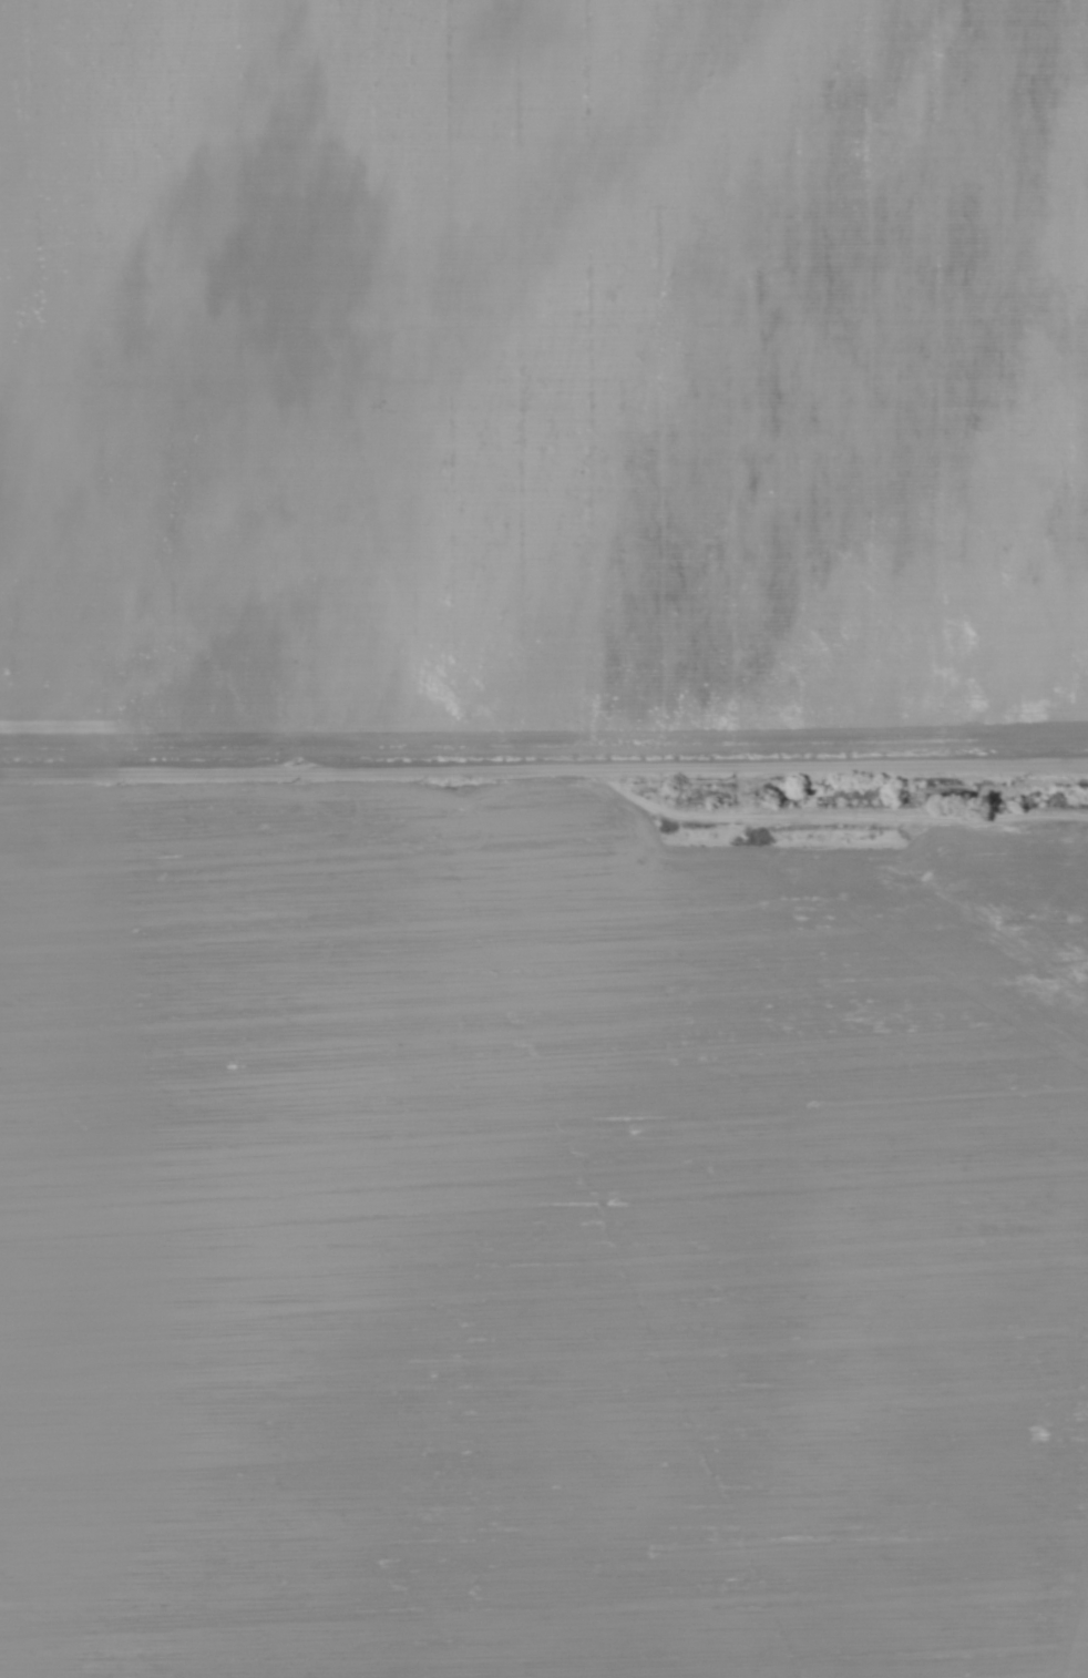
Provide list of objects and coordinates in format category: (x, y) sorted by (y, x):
road: (544, 781)

